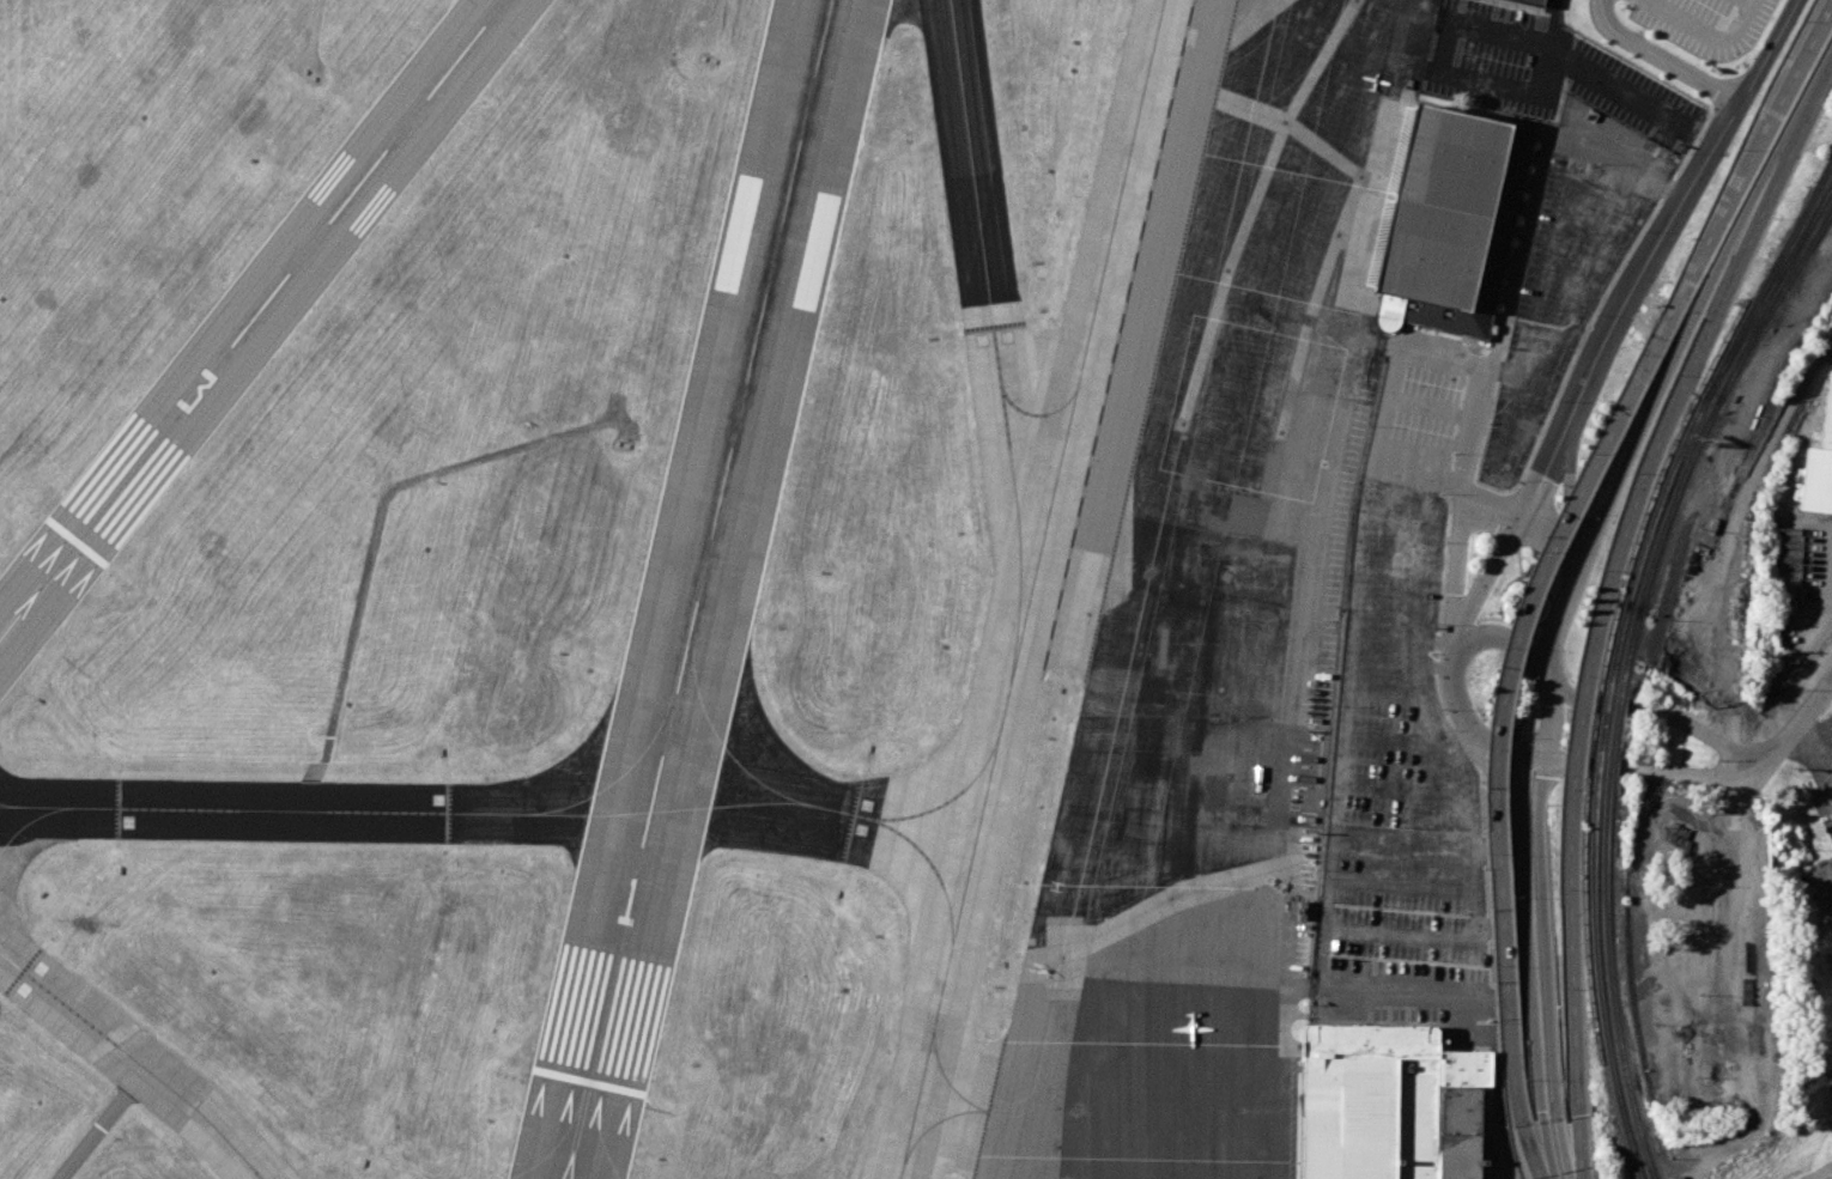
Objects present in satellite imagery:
road: (1747, 1)
airport hangar: (1531, 2)
building: (1531, 2)
parking lot: (1704, 23)
road: (314, 29)
road: (1706, 34)
road: (1766, 50)
road: (1660, 56)
road: (1560, 102)
road: (1715, 103)
road: (1552, 135)
road: (1691, 145)
road: (1759, 146)
road: (1615, 171)
road: (1667, 187)
airport hangar: (1449, 221)
building: (1449, 221)
airport taxiway: (981, 242)
road: (1525, 253)
road: (1645, 272)
railway: (1770, 281)
railway: (1770, 292)
railway: (1775, 293)
road: (1577, 300)
railway: (1775, 308)
road: (1503, 316)
airport runway: (251, 318)
road: (1697, 347)
road: (1499, 370)
road: (1668, 373)
road: (1552, 407)
road: (1431, 409)
building: (1819, 462)
road: (1406, 463)
road: (1451, 480)
road: (1539, 484)
road: (1458, 488)
road: (1570, 499)
road: (1401, 500)
road: (1488, 509)
road: (1517, 518)
road: (1551, 531)
road: (1731, 533)
airport taxiway: (1018, 536)
road: (1394, 548)
road: (1458, 559)
road: (1442, 564)
airport: (765, 577)
road: (1427, 583)
road: (1485, 584)
airport runway: (698, 589)
airport taxiway: (1030, 592)
road: (1513, 606)
road: (1560, 609)
airport apron: (1211, 613)
road: (1519, 627)
road: (1502, 634)
road: (1405, 637)
road: (1531, 637)
road: (1434, 642)
road: (1547, 643)
road: (1433, 654)
road: (1401, 666)
road: (1433, 667)
road: (1570, 681)
road: (1381, 691)
road: (1573, 695)
road: (1553, 701)
road: (1342, 709)
road: (1463, 711)
road: (1681, 711)
road: (1500, 713)
road: (1581, 715)
road: (1798, 719)
road: (1694, 724)
road: (1818, 730)
parking lot: (1402, 735)
road: (1395, 740)
road: (1448, 743)
road: (1545, 746)
road: (1467, 752)
road: (1814, 756)
road: (1523, 758)
road: (1564, 764)
road: (1692, 770)
railway: (1599, 783)
railway: (1607, 784)
road: (1403, 790)
parking lot: (1821, 809)
airport taxiway: (490, 812)
road: (1470, 821)
road: (1402, 838)
road: (1484, 849)
road: (1486, 853)
road: (1472, 867)
road: (1401, 882)
road: (1524, 882)
road: (1540, 882)
airport taxiway: (964, 891)
road: (1486, 891)
building: (1821, 891)
road: (1473, 914)
road: (1487, 926)
road: (1487, 928)
road: (1397, 932)
road: (1569, 940)
road: (1504, 961)
road: (1490, 962)
road: (1491, 990)
road: (1722, 997)
airport taxiway: (135, 1059)
road: (1539, 1095)
road: (1555, 1096)
building: (1388, 1104)
airport taxiway: (964, 1106)
road: (1578, 1138)
road: (1821, 1173)

